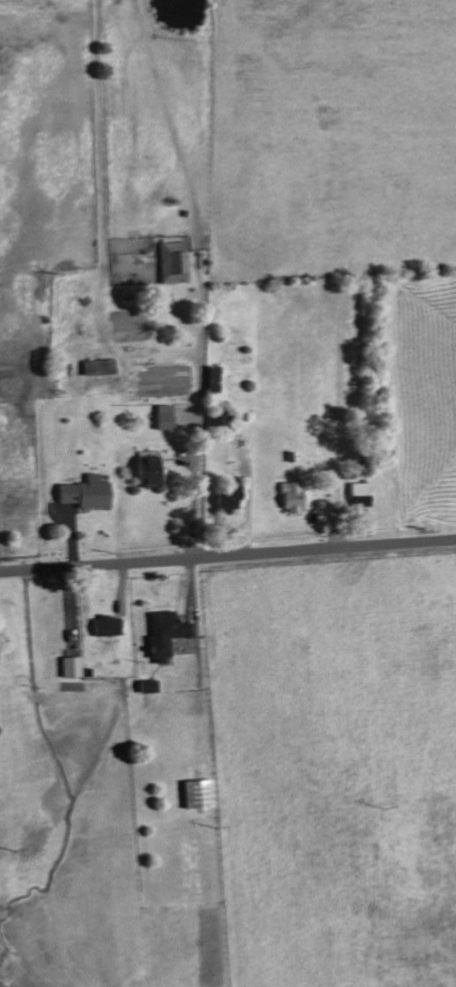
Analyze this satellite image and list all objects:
building: (173, 262)
building: (99, 367)
building: (212, 379)
road: (195, 416)
building: (163, 417)
building: (218, 421)
building: (147, 471)
building: (86, 493)
building: (292, 497)
building: (229, 498)
road: (228, 556)
building: (105, 626)
building: (164, 634)
building: (71, 667)
building: (147, 686)
building: (197, 794)

